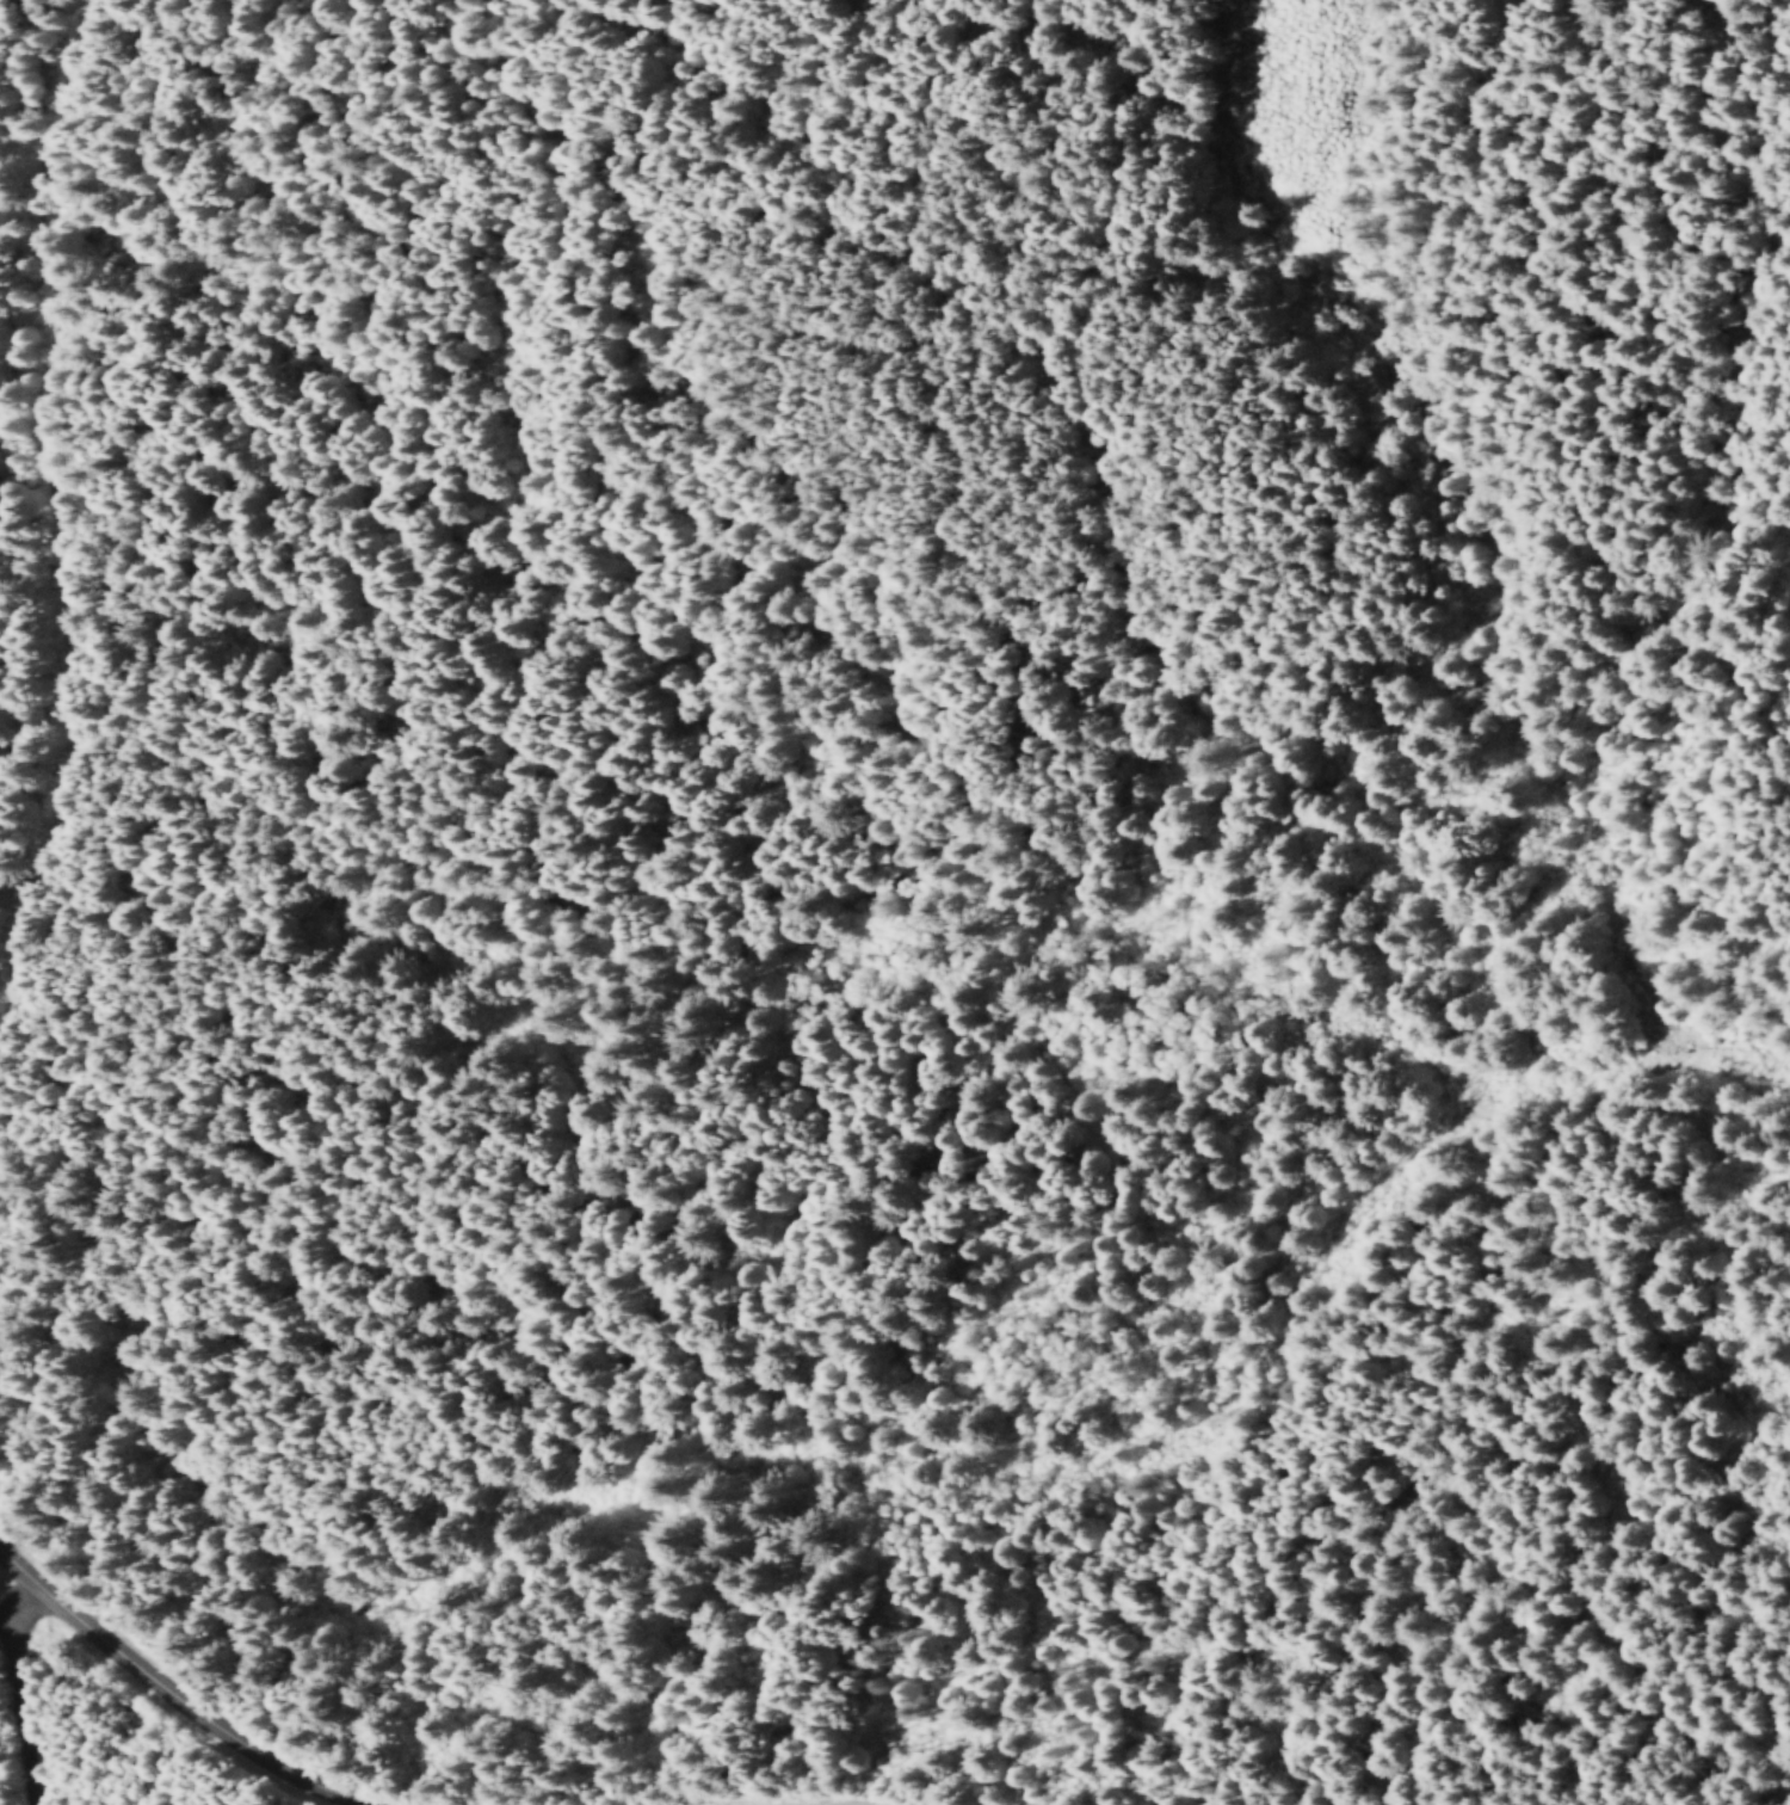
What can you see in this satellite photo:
road: (6, 555)
road: (159, 1702)

